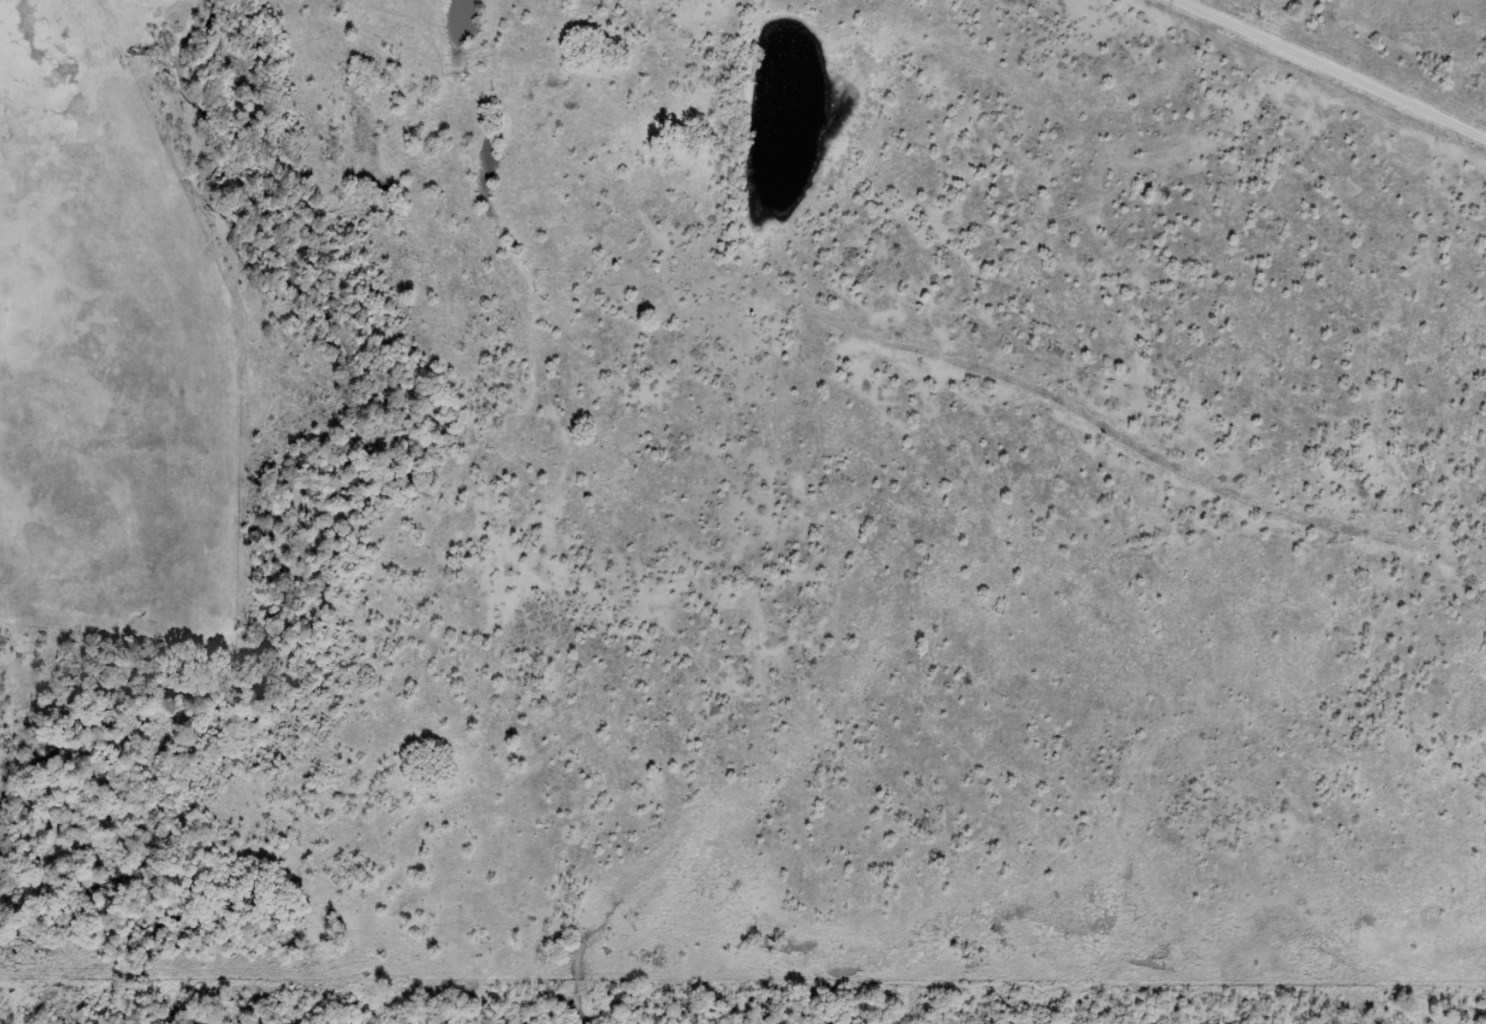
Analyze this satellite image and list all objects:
road: (1335, 68)

